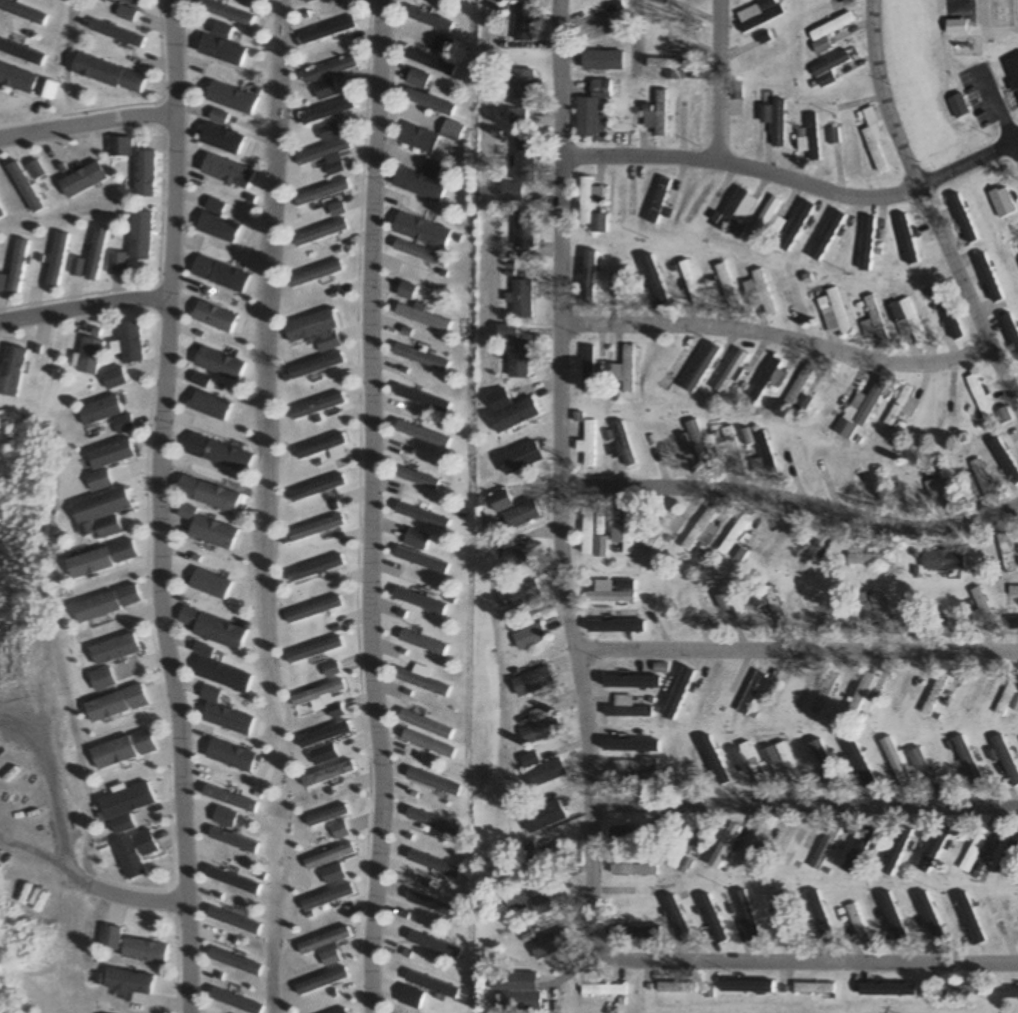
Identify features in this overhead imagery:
building: (303, 1)
building: (690, 1)
building: (129, 9)
building: (757, 14)
building: (425, 19)
building: (606, 20)
building: (526, 21)
building: (322, 31)
building: (825, 32)
building: (117, 33)
building: (439, 44)
building: (216, 51)
building: (758, 53)
building: (602, 60)
building: (428, 61)
building: (670, 65)
building: (828, 67)
building: (1013, 69)
building: (324, 70)
building: (107, 73)
building: (415, 78)
road: (715, 80)
building: (525, 87)
building: (320, 89)
road: (878, 96)
building: (225, 98)
building: (427, 101)
building: (742, 107)
building: (590, 108)
building: (323, 111)
building: (656, 114)
building: (520, 116)
building: (772, 120)
road: (85, 123)
building: (453, 130)
building: (326, 132)
building: (808, 137)
building: (418, 138)
building: (216, 139)
building: (872, 139)
building: (115, 147)
building: (840, 147)
road: (1015, 153)
building: (323, 156)
road: (967, 164)
road: (744, 167)
building: (523, 169)
building: (140, 174)
building: (423, 181)
building: (322, 192)
building: (657, 200)
building: (591, 206)
building: (336, 209)
building: (736, 212)
building: (763, 218)
building: (215, 227)
building: (525, 229)
building: (424, 231)
building: (321, 233)
building: (865, 242)
building: (130, 244)
building: (424, 253)
building: (1017, 261)
building: (219, 274)
building: (318, 274)
building: (589, 277)
building: (621, 279)
building: (656, 282)
building: (690, 282)
building: (725, 286)
building: (755, 290)
building: (410, 291)
building: (524, 299)
road: (967, 299)
road: (82, 305)
building: (833, 313)
building: (216, 316)
building: (425, 317)
building: (946, 318)
building: (871, 320)
building: (904, 320)
building: (320, 331)
road: (779, 336)
building: (132, 342)
building: (516, 352)
building: (92, 356)
building: (423, 358)
building: (224, 364)
building: (321, 366)
building: (587, 369)
building: (625, 370)
building: (730, 373)
building: (767, 378)
building: (117, 379)
building: (796, 387)
building: (978, 397)
building: (801, 404)
building: (215, 405)
building: (320, 407)
building: (899, 407)
building: (511, 411)
building: (857, 411)
building: (111, 414)
building: (1003, 416)
building: (422, 434)
building: (587, 444)
building: (622, 444)
building: (697, 446)
building: (326, 449)
building: (728, 450)
building: (223, 453)
building: (757, 454)
building: (116, 463)
building: (798, 463)
road: (561, 467)
building: (417, 479)
building: (980, 479)
building: (937, 486)
building: (319, 488)
building: (213, 493)
road: (791, 505)
road: (157, 506)
road: (368, 507)
building: (513, 510)
building: (114, 512)
building: (422, 517)
building: (663, 528)
building: (319, 529)
building: (587, 531)
building: (217, 533)
building: (625, 533)
building: (699, 535)
building: (734, 540)
building: (600, 547)
building: (1005, 553)
building: (519, 554)
building: (870, 559)
building: (942, 560)
building: (422, 561)
building: (101, 563)
building: (319, 569)
building: (217, 585)
building: (1013, 591)
building: (611, 592)
building: (521, 596)
building: (754, 599)
building: (421, 601)
building: (730, 602)
building: (337, 604)
building: (117, 605)
building: (774, 608)
building: (808, 611)
building: (875, 611)
building: (982, 611)
building: (950, 612)
building: (614, 621)
building: (221, 629)
building: (530, 637)
building: (425, 642)
building: (124, 650)
building: (320, 651)
road: (795, 651)
building: (336, 670)
building: (110, 680)
building: (426, 682)
building: (535, 682)
building: (629, 682)
building: (899, 691)
building: (680, 692)
building: (716, 692)
building: (974, 692)
building: (323, 693)
building: (751, 693)
building: (824, 694)
building: (934, 694)
building: (1007, 695)
building: (860, 696)
building: (1015, 705)
building: (114, 707)
building: (626, 708)
building: (227, 714)
building: (429, 724)
building: (541, 726)
building: (327, 735)
building: (431, 744)
building: (128, 750)
building: (232, 755)
building: (1006, 760)
building: (746, 761)
building: (781, 762)
building: (967, 762)
building: (649, 763)
building: (927, 763)
building: (897, 764)
building: (857, 768)
building: (543, 769)
building: (330, 774)
building: (632, 778)
building: (434, 781)
building: (128, 801)
road: (805, 806)
building: (327, 816)
building: (433, 821)
building: (231, 841)
building: (754, 847)
building: (948, 847)
building: (722, 848)
building: (824, 848)
building: (898, 848)
building: (684, 849)
building: (974, 850)
building: (1009, 853)
building: (329, 857)
building: (544, 858)
building: (433, 864)
building: (631, 867)
building: (331, 875)
building: (325, 898)
building: (544, 900)
building: (432, 904)
building: (748, 917)
building: (679, 920)
building: (1005, 921)
building: (858, 923)
building: (967, 924)
building: (321, 941)
building: (548, 945)
building: (327, 959)
road: (799, 963)
building: (318, 982)
building: (426, 984)
building: (679, 988)
building: (816, 989)
building: (604, 991)
building: (958, 991)
building: (516, 992)
building: (1009, 995)
building: (339, 1012)

